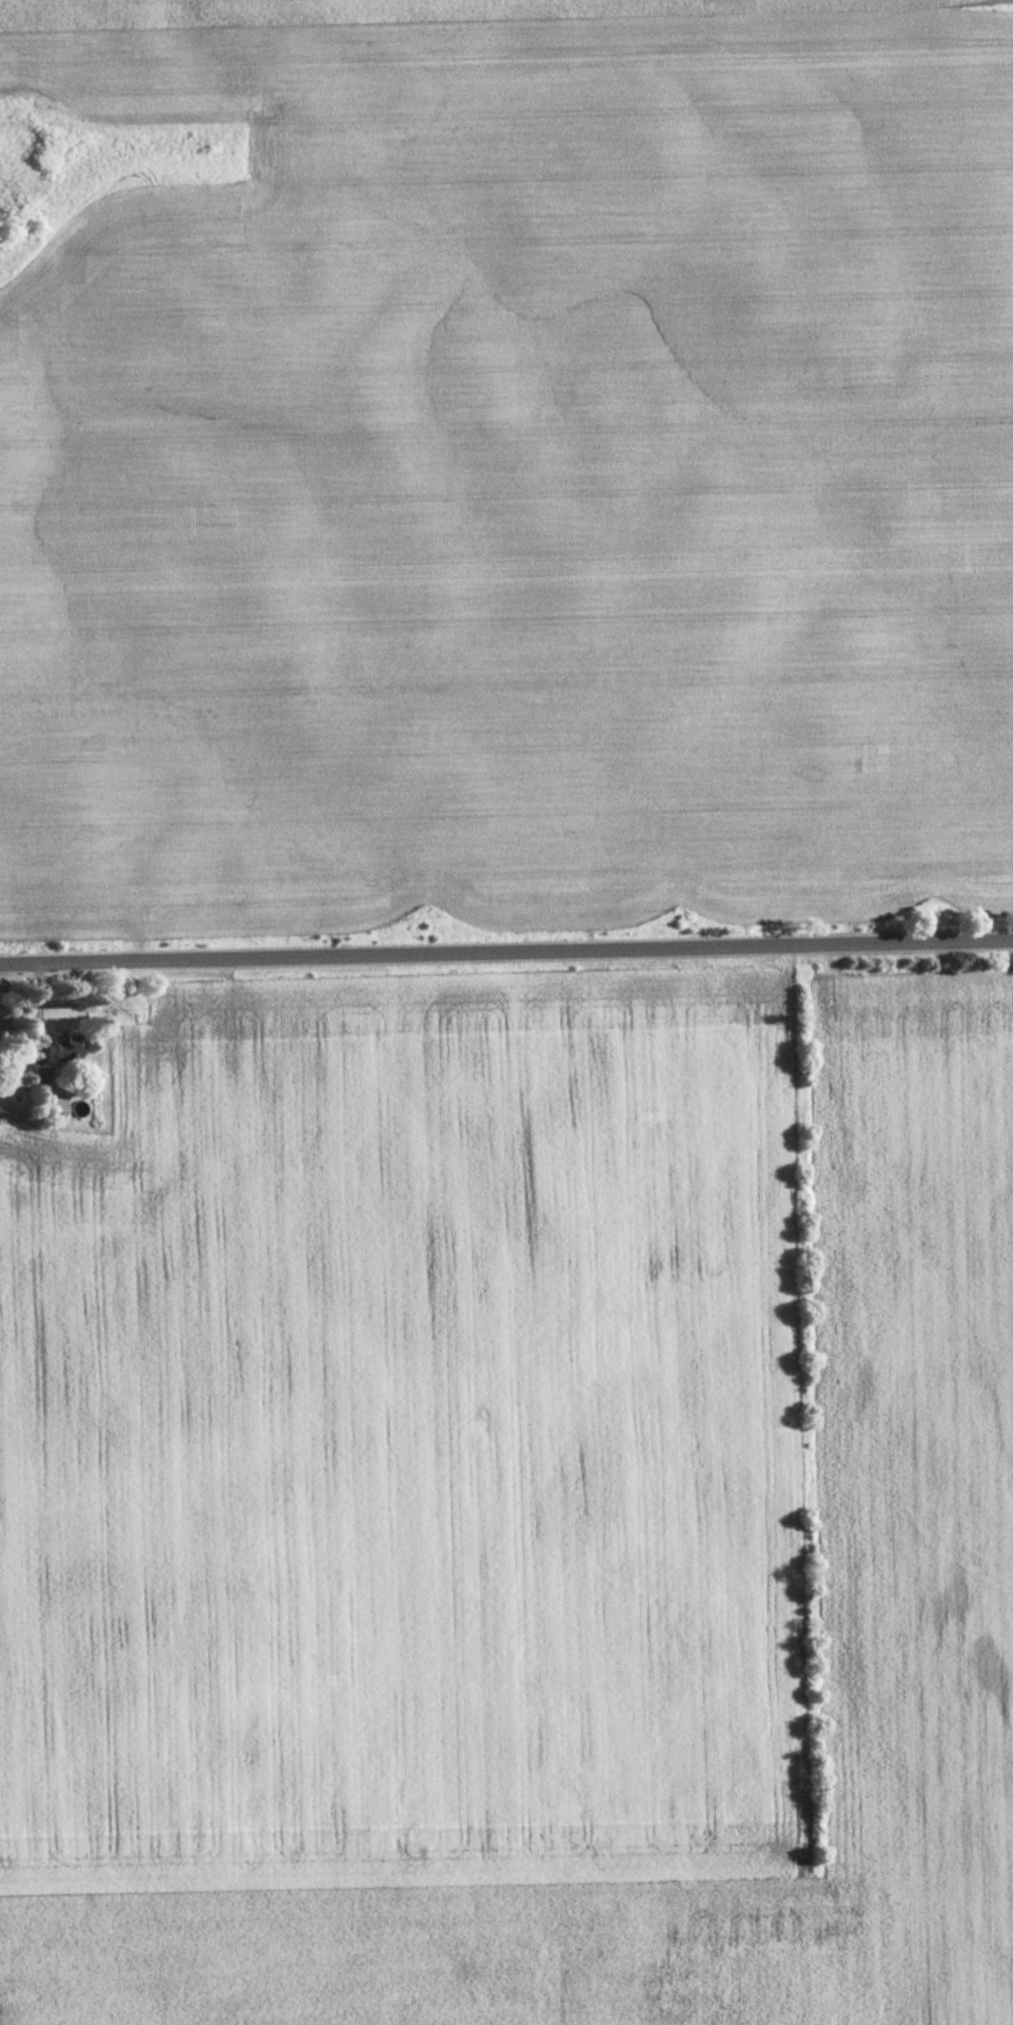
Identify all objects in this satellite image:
road: (506, 953)
building: (61, 1048)
building: (55, 1102)

